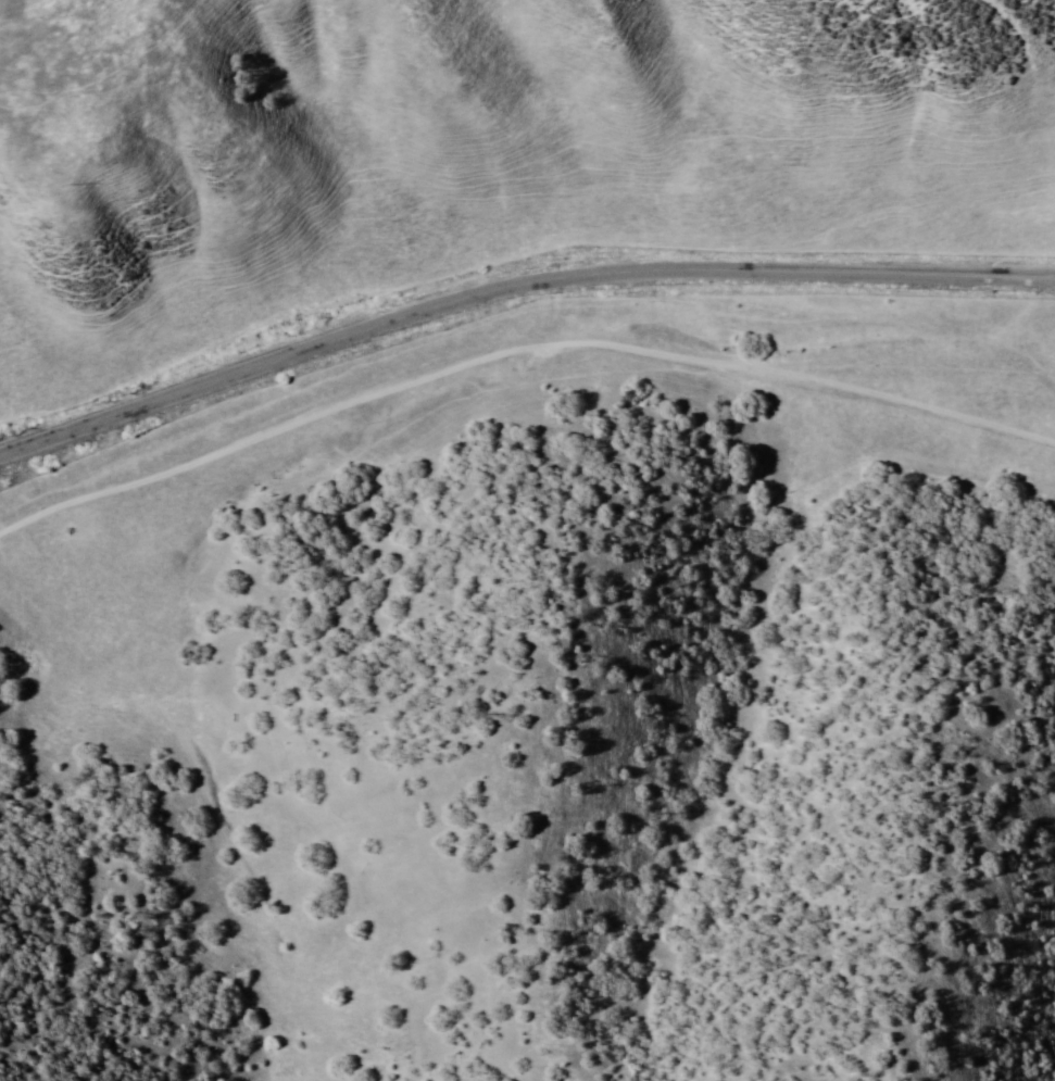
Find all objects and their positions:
road: (513, 284)
road: (516, 343)

